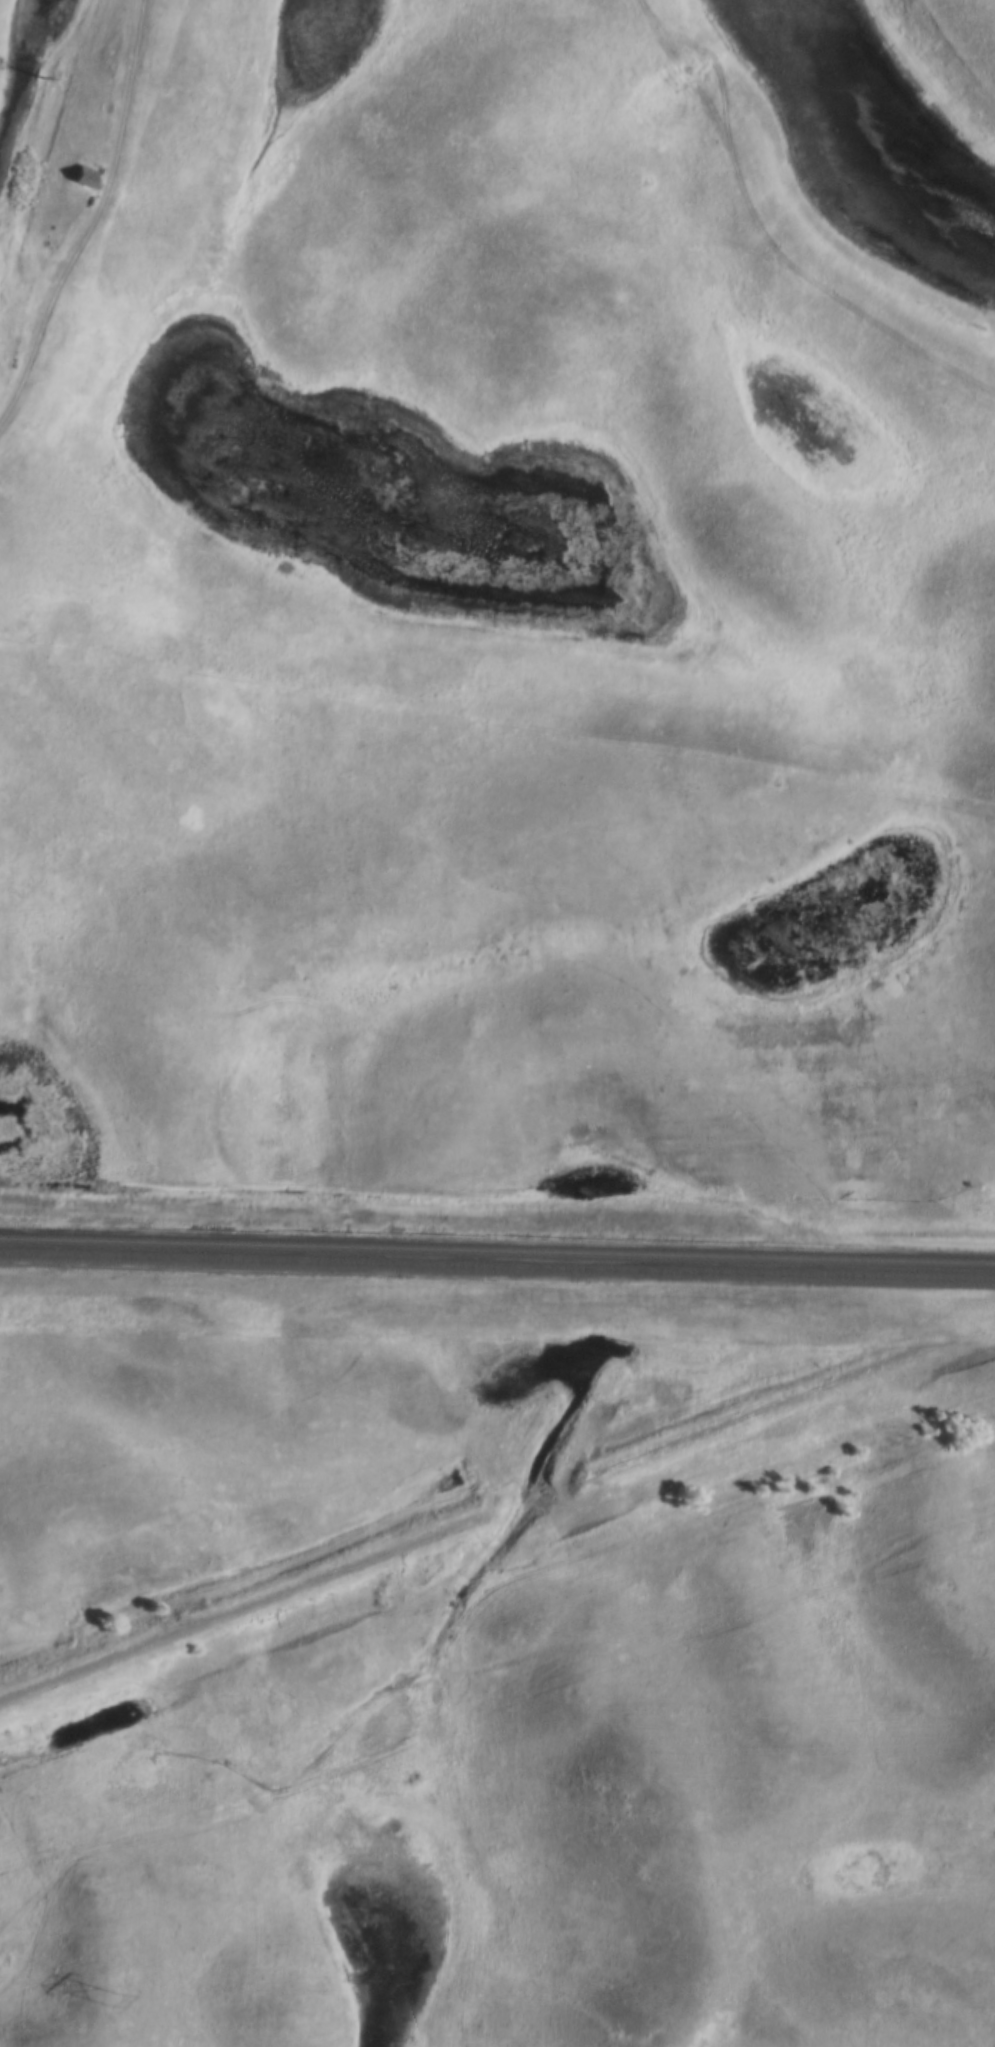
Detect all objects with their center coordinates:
road: (100, 206)
railway: (497, 1241)
railway: (497, 1267)
power tower: (100, 2000)

